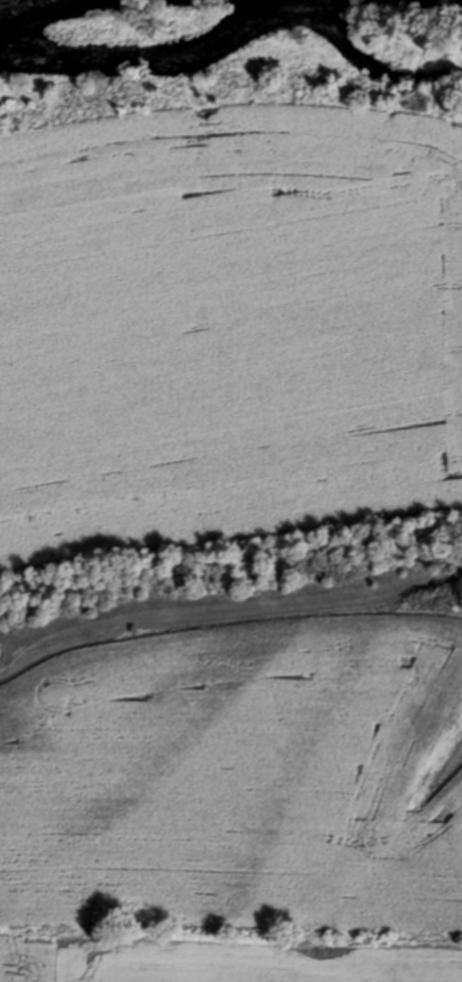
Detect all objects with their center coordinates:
river: (32, 5)

